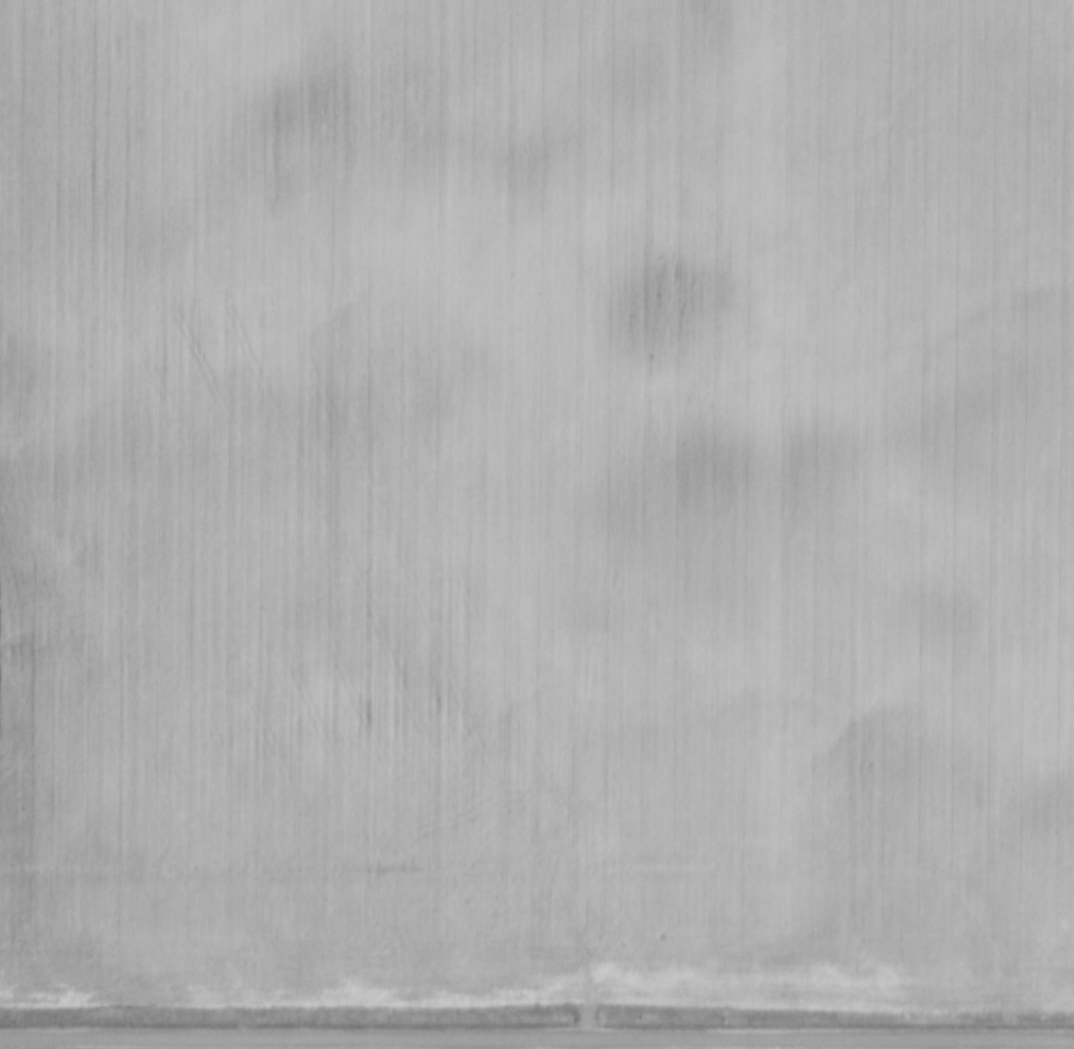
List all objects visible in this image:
road: (536, 1035)

